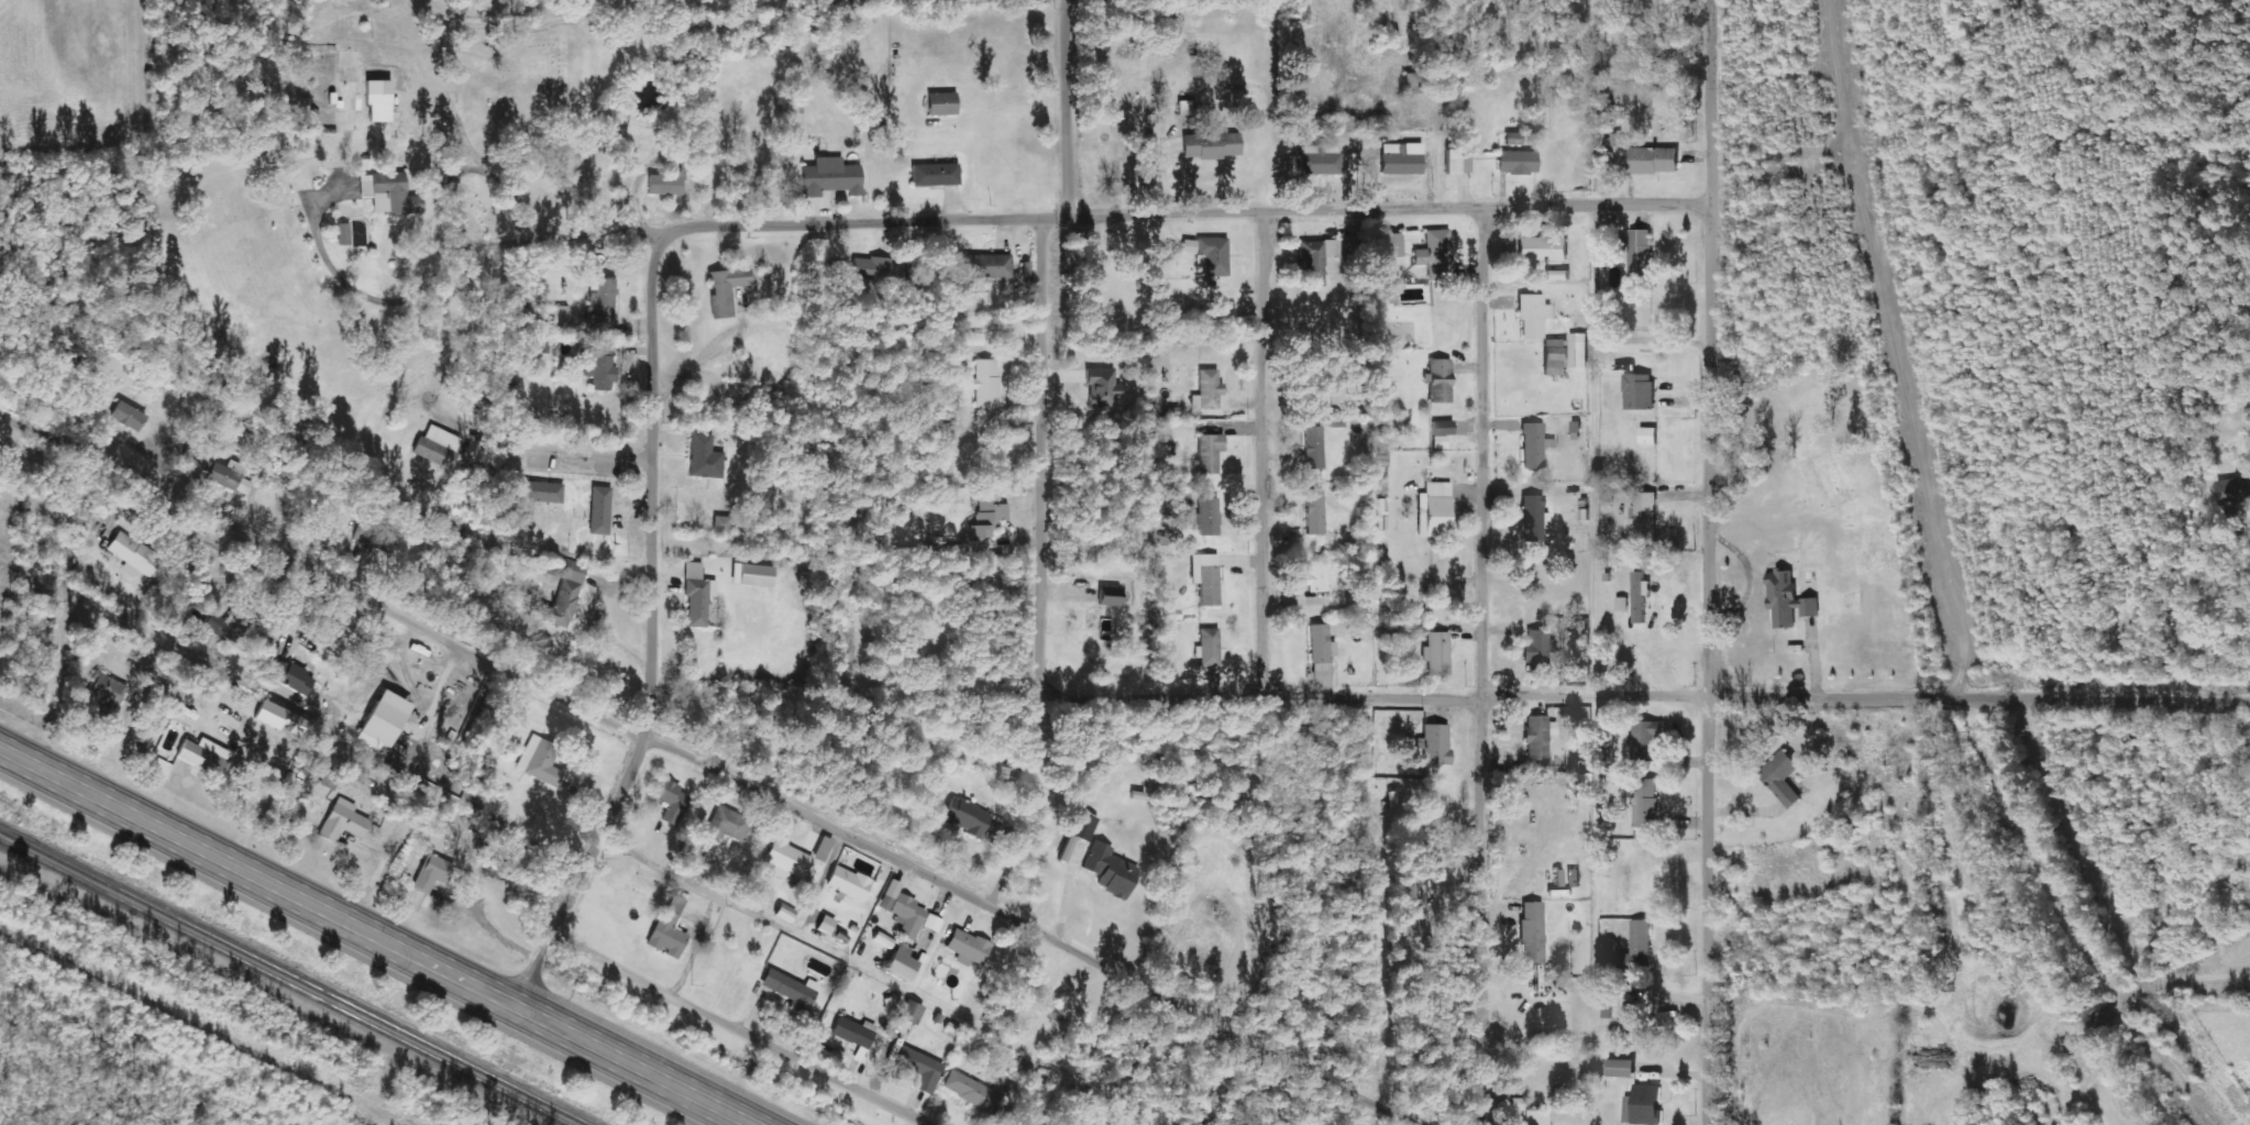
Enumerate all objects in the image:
building: (378, 100)
building: (942, 103)
road: (1065, 109)
building: (1514, 139)
building: (1212, 145)
building: (1402, 158)
building: (1321, 159)
building: (1653, 159)
building: (1518, 162)
building: (936, 175)
building: (831, 177)
building: (665, 185)
building: (389, 194)
road: (1370, 210)
road: (790, 223)
building: (343, 234)
building: (1394, 245)
building: (1543, 249)
building: (1640, 253)
building: (1210, 254)
building: (1436, 254)
building: (1316, 260)
building: (988, 266)
building: (870, 268)
building: (726, 289)
building: (1390, 297)
building: (605, 306)
building: (562, 315)
building: (1533, 316)
building: (975, 339)
building: (1565, 354)
building: (600, 367)
building: (1441, 380)
road: (500, 383)
building: (986, 384)
building: (1102, 387)
building: (1207, 391)
building: (1639, 391)
building: (129, 416)
road: (1598, 428)
building: (945, 433)
building: (1442, 433)
building: (1647, 435)
building: (1535, 445)
building: (438, 448)
building: (1313, 448)
road: (1047, 452)
building: (1210, 453)
road: (662, 454)
road: (1273, 456)
building: (705, 459)
building: (231, 477)
building: (1816, 485)
building: (2232, 490)
building: (540, 493)
building: (600, 510)
building: (1436, 510)
building: (1315, 512)
building: (1381, 515)
building: (1209, 516)
building: (1645, 516)
building: (989, 517)
building: (1532, 518)
building: (723, 525)
building: (133, 554)
road: (1717, 562)
building: (753, 575)
building: (1316, 576)
building: (1206, 577)
road: (365, 589)
building: (565, 596)
building: (697, 596)
building: (1640, 596)
building: (1110, 597)
building: (1787, 599)
building: (1621, 605)
building: (225, 627)
building: (1537, 648)
building: (1209, 649)
building: (1321, 651)
building: (1437, 654)
road: (1489, 665)
building: (293, 680)
building: (104, 695)
road: (658, 695)
road: (1590, 701)
road: (796, 718)
building: (282, 719)
building: (384, 720)
building: (1540, 737)
building: (1645, 737)
building: (1435, 745)
building: (203, 757)
building: (540, 761)
building: (1782, 776)
road: (631, 783)
building: (671, 801)
road: (796, 803)
building: (1646, 804)
building: (971, 819)
building: (344, 821)
building: (728, 825)
building: (1084, 826)
building: (824, 849)
building: (787, 858)
building: (1110, 871)
building: (432, 873)
building: (849, 883)
road: (581, 892)
building: (1412, 908)
building: (905, 911)
building: (784, 915)
building: (931, 924)
building: (826, 925)
building: (670, 929)
building: (1532, 933)
road: (375, 936)
building: (1641, 940)
building: (968, 946)
building: (901, 963)
railway: (300, 973)
road: (539, 974)
railway: (283, 982)
building: (792, 993)
road: (1180, 993)
building: (911, 1013)
building: (1630, 1015)
road: (743, 1030)
building: (854, 1033)
building: (1621, 1068)
building: (920, 1069)
building: (968, 1089)
building: (1646, 1104)
building: (1628, 1110)
building: (1537, 1117)

